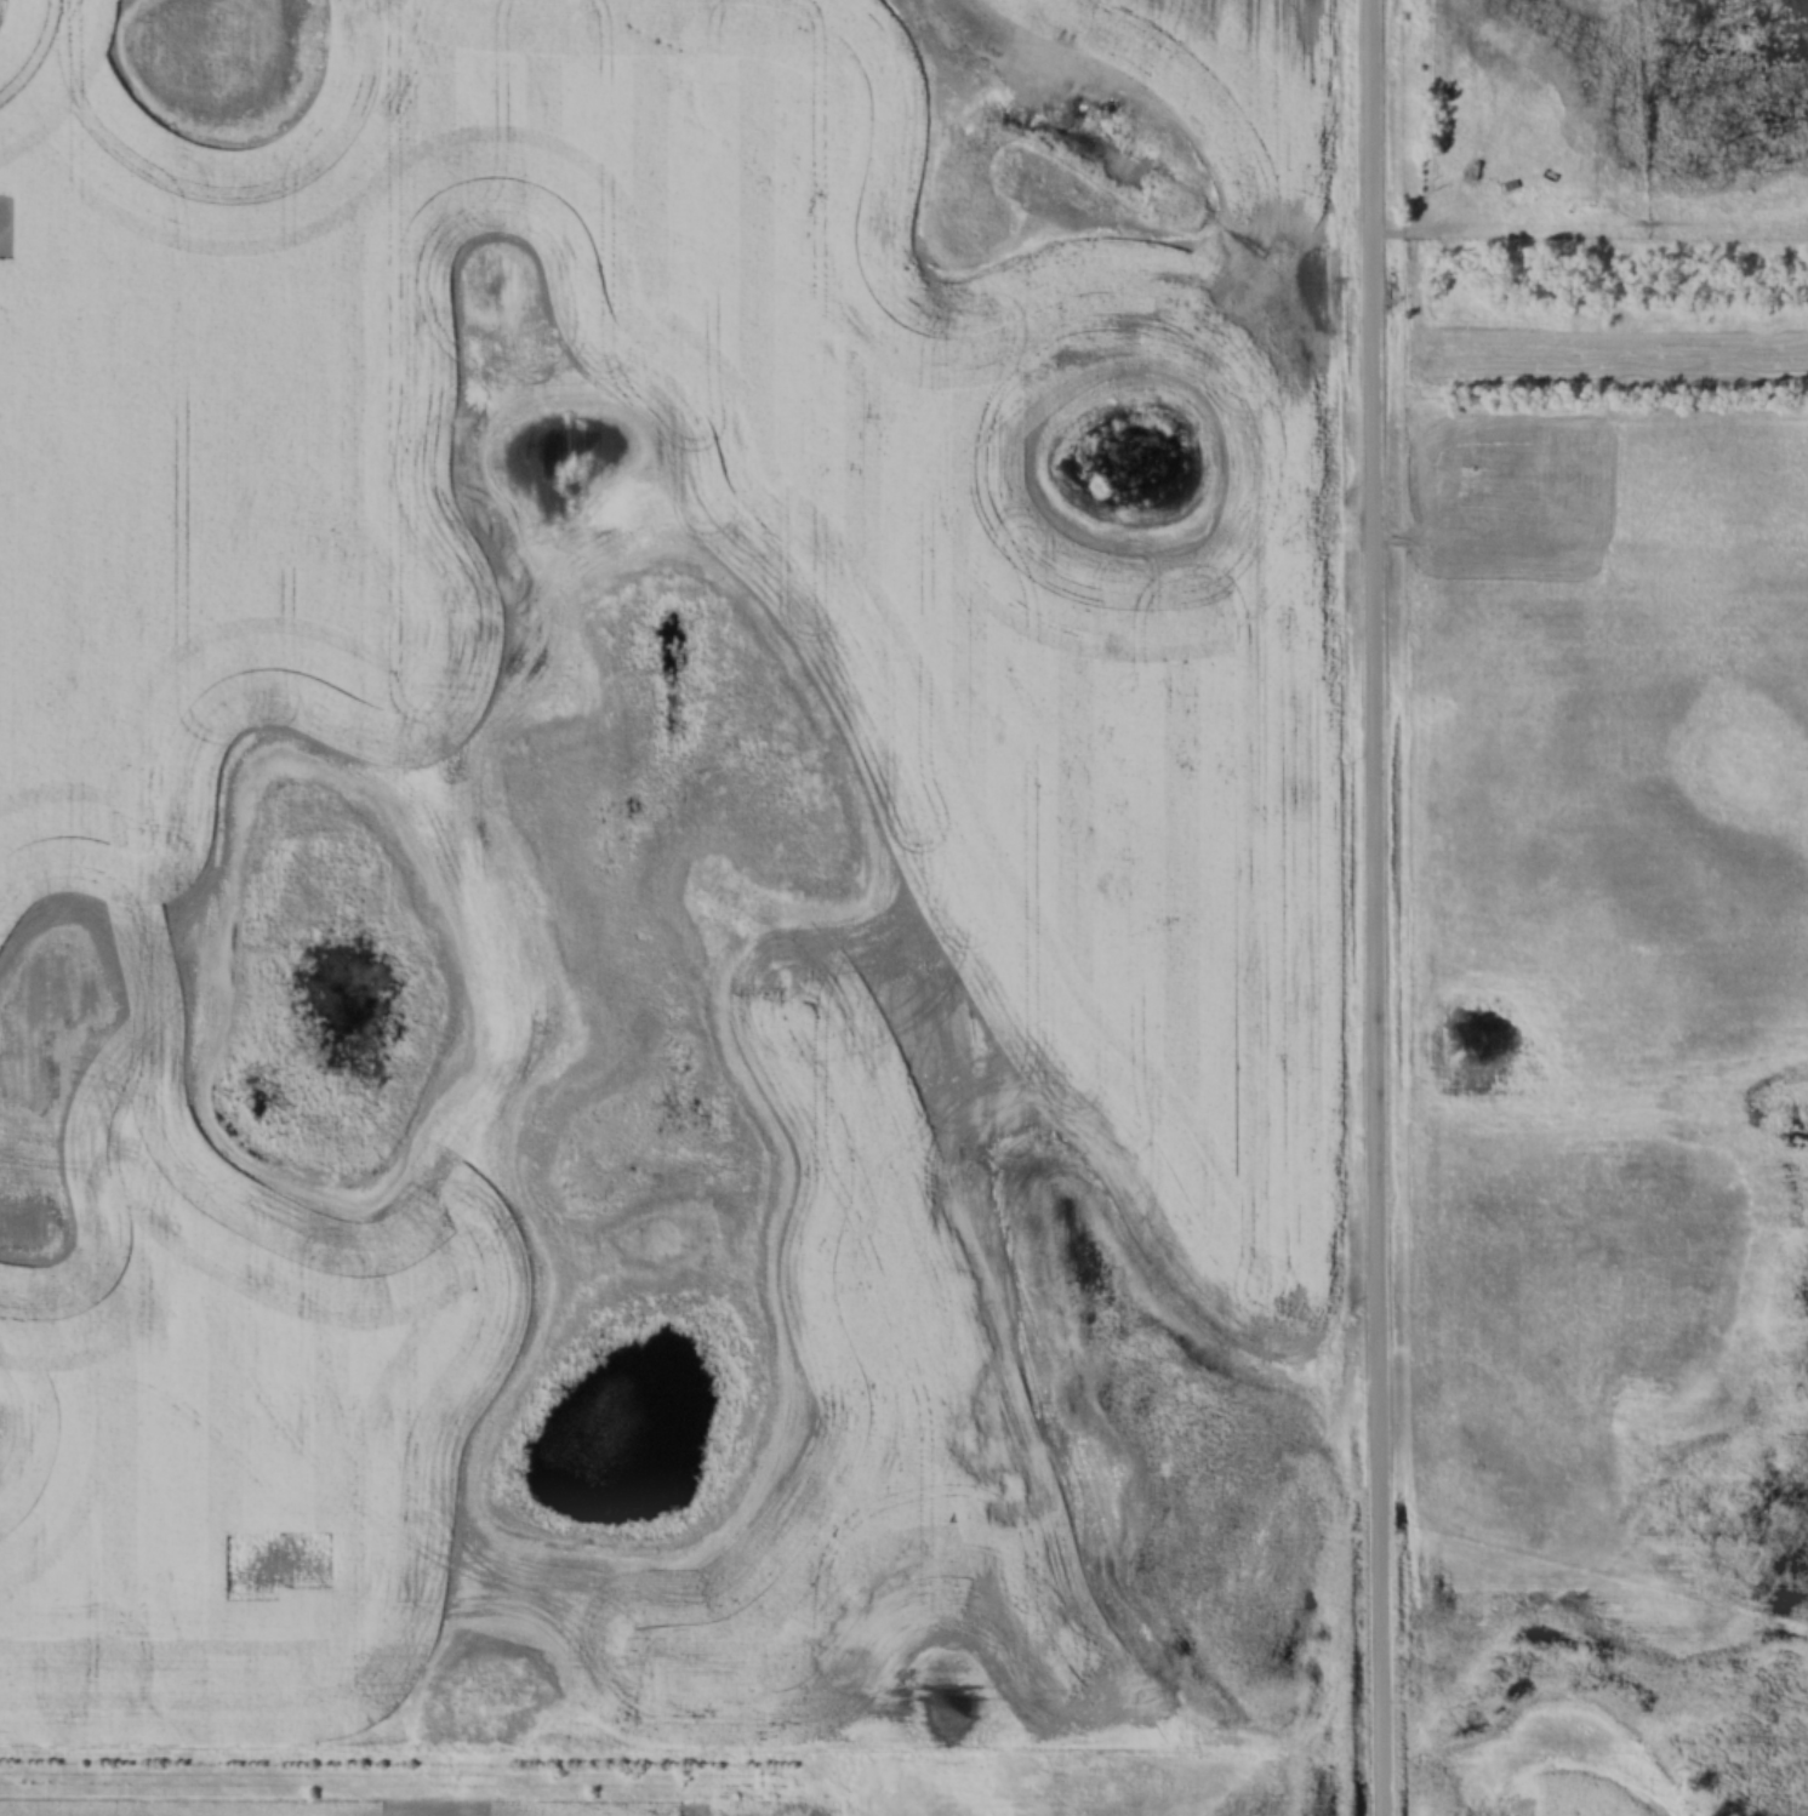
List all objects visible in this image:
road: (1375, 907)

